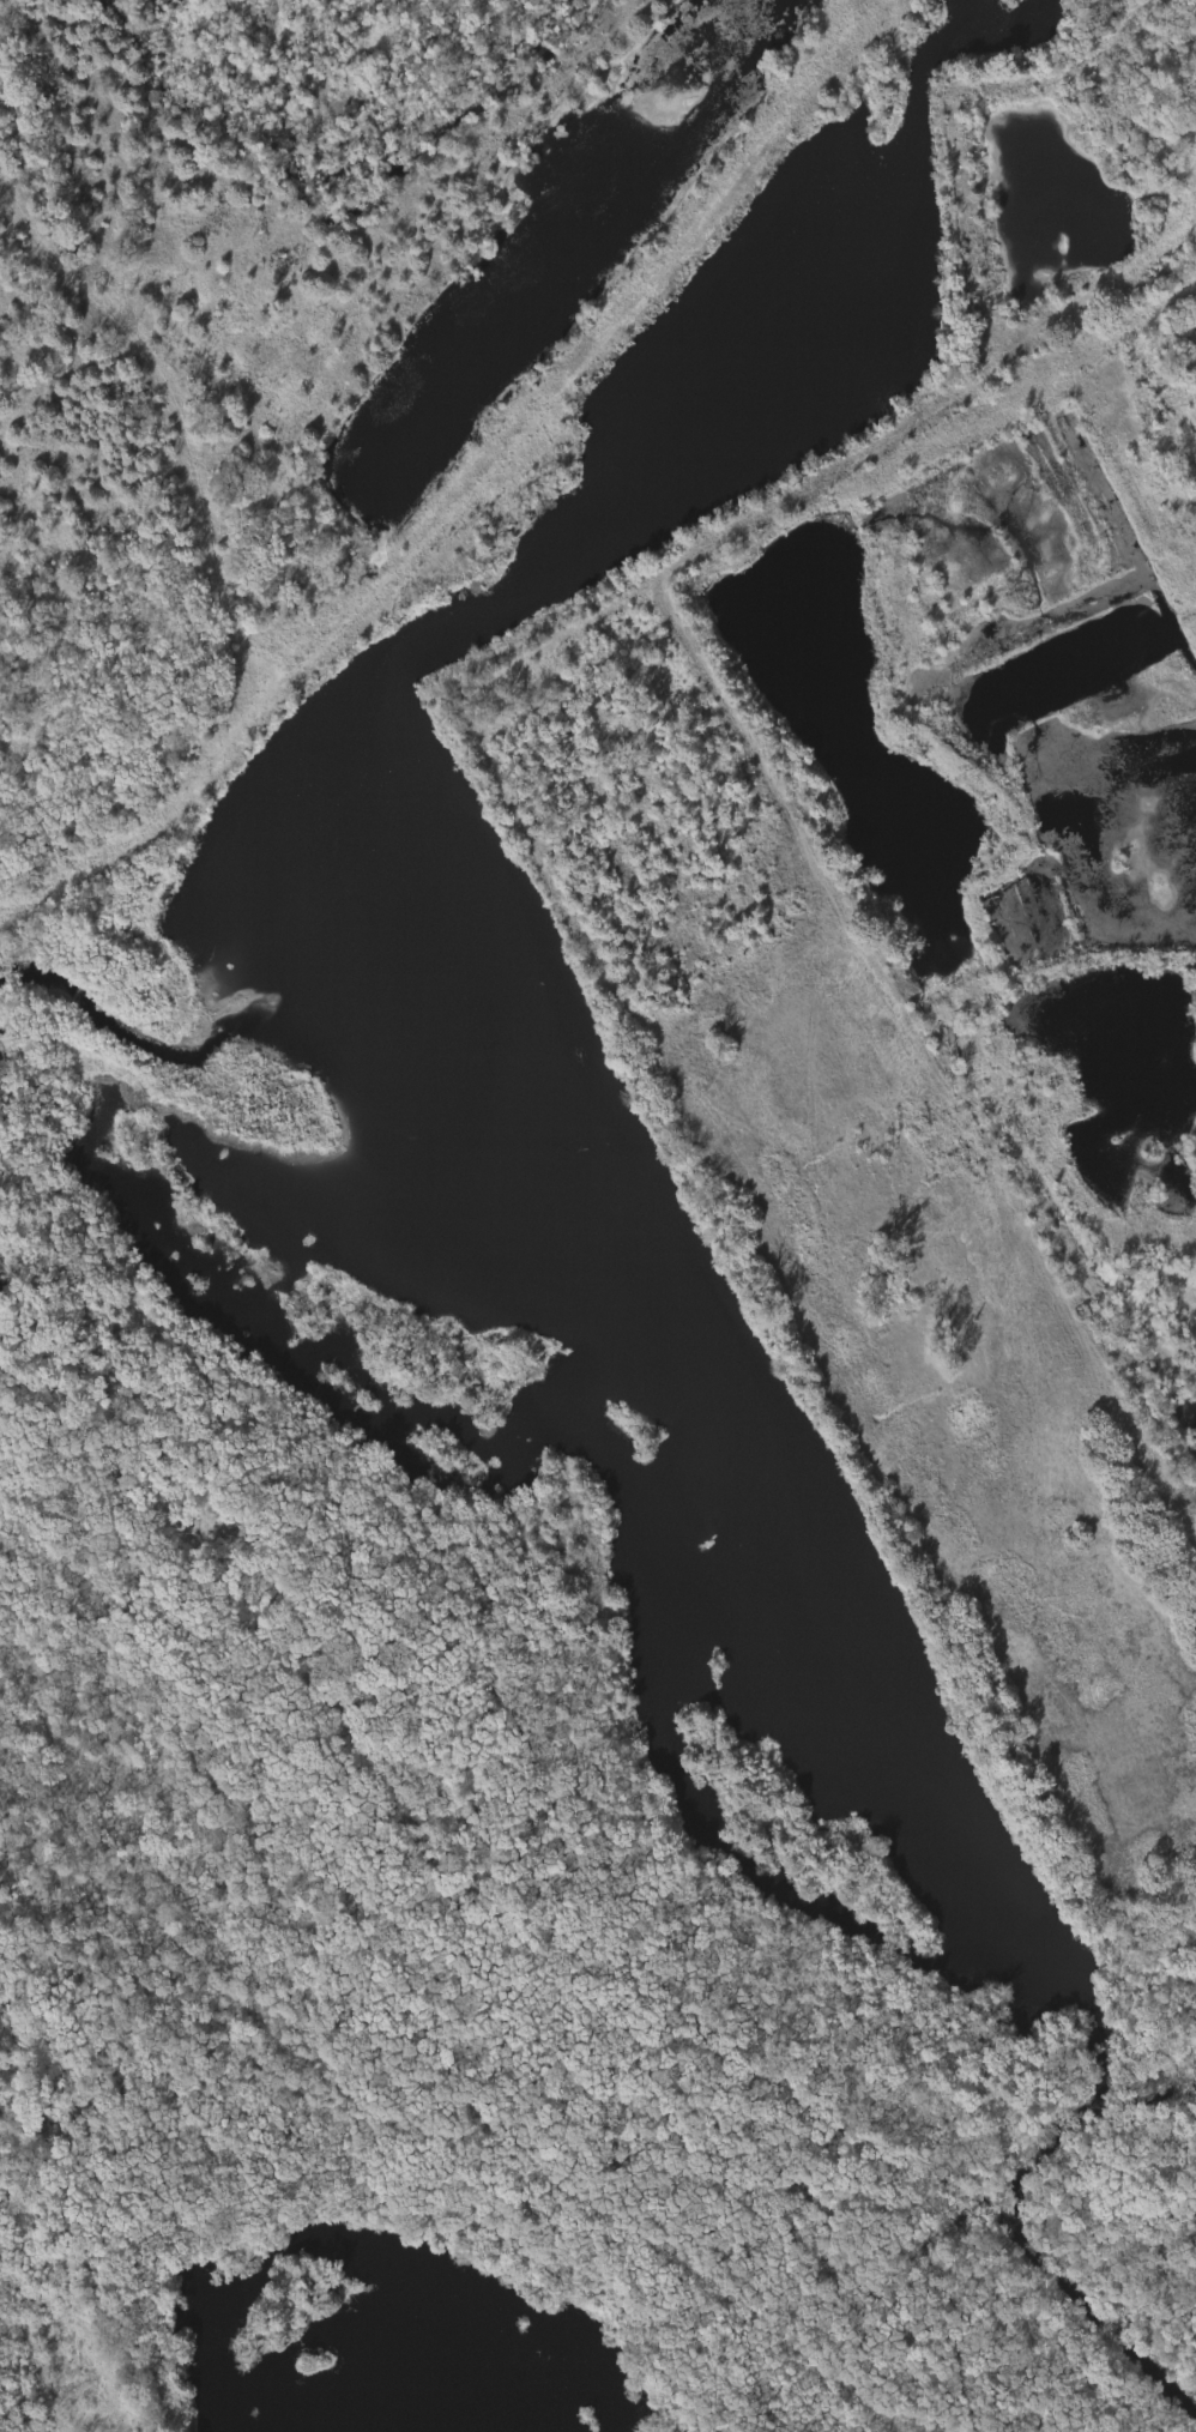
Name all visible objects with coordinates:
road: (59, 343)
road: (153, 360)

